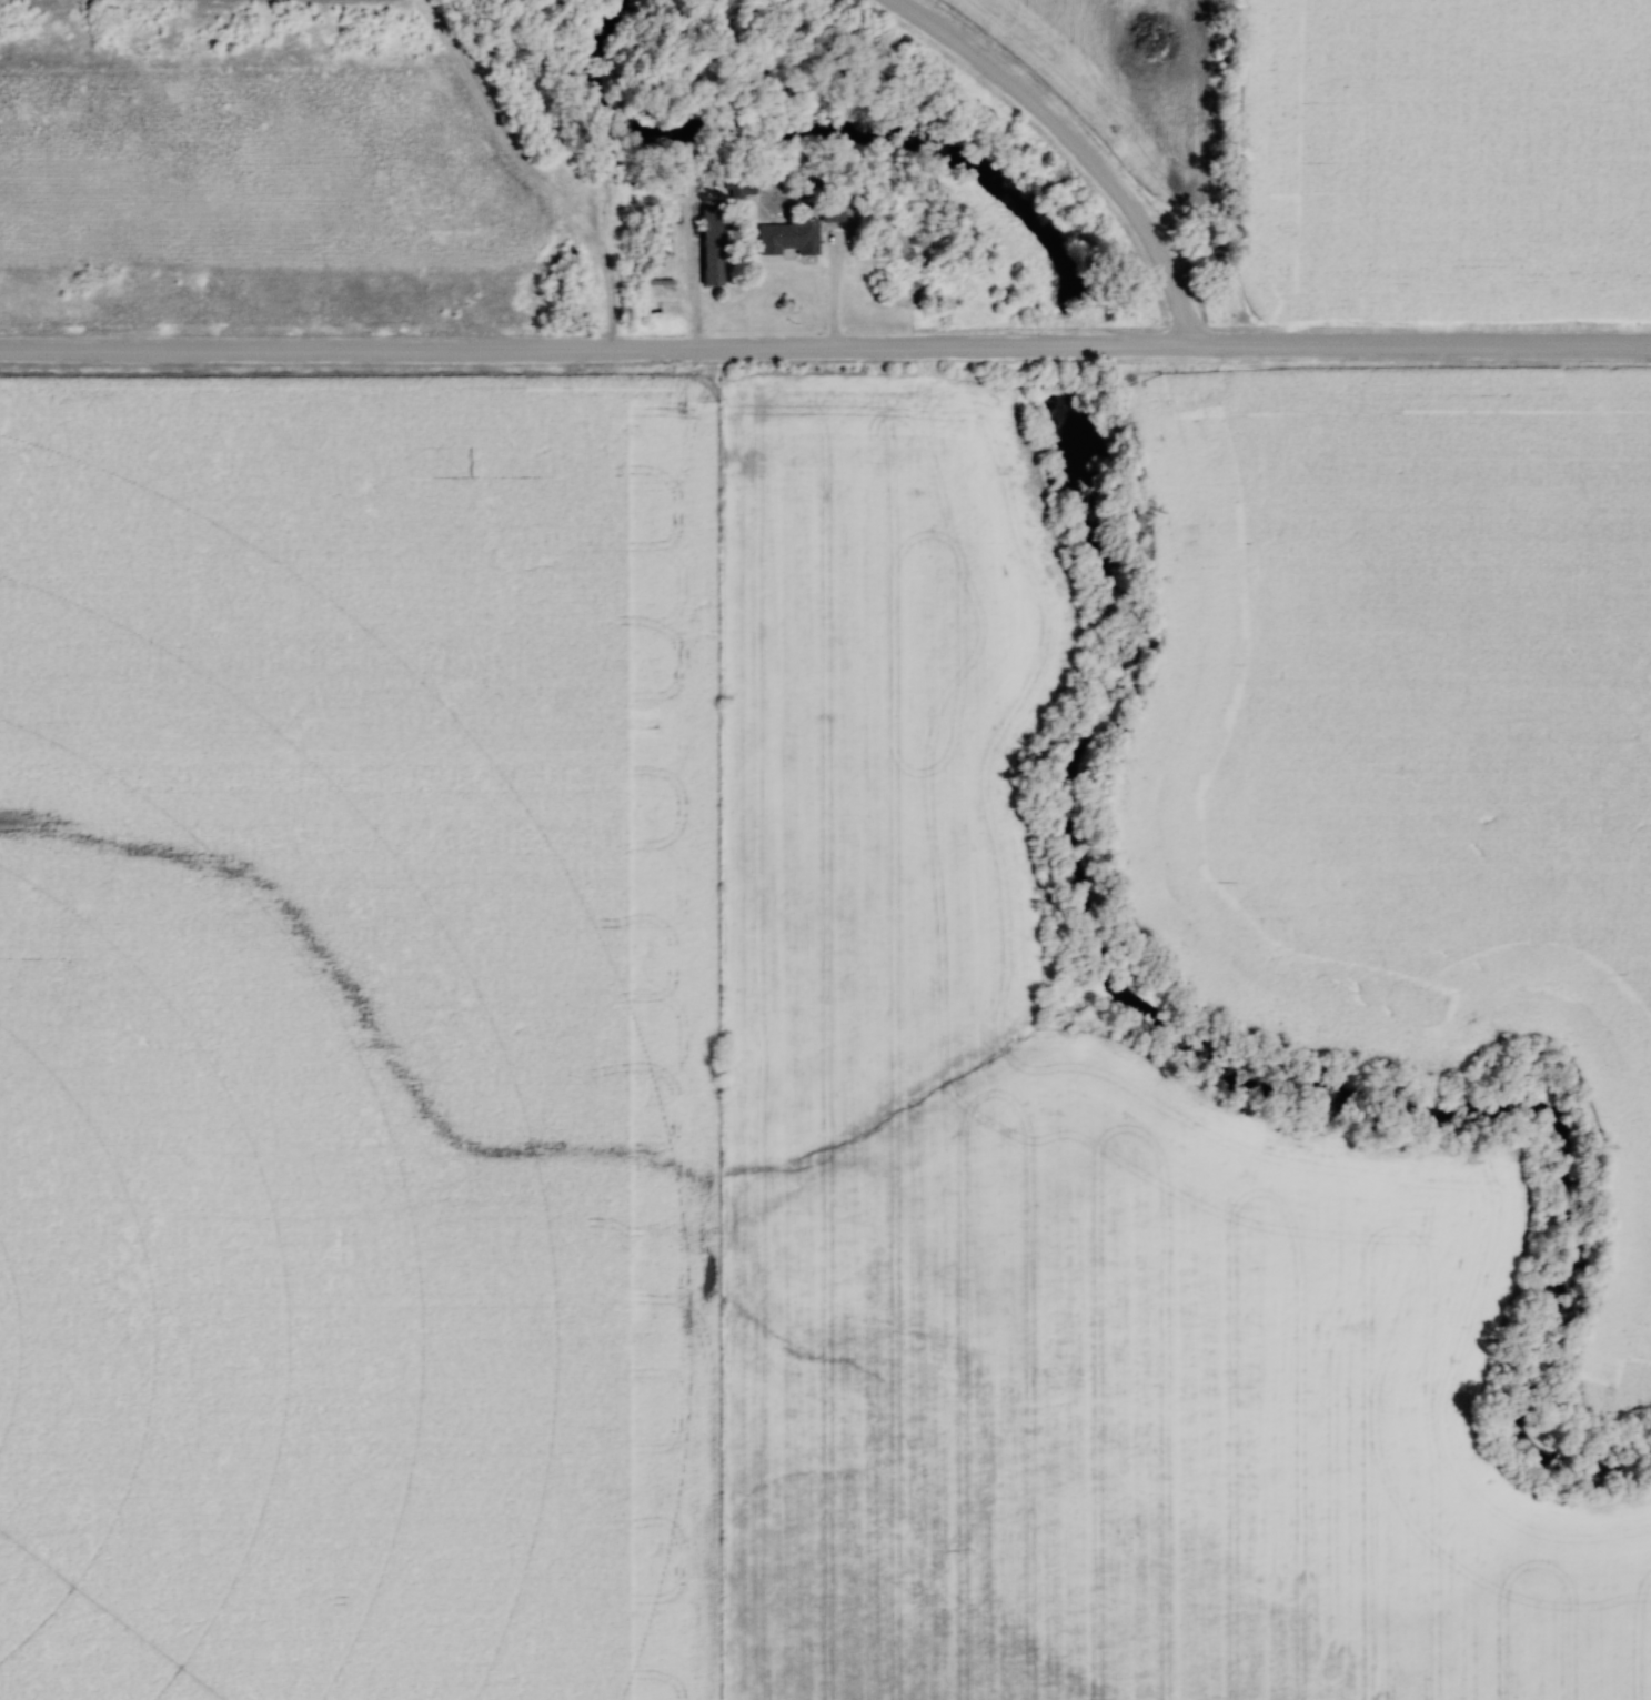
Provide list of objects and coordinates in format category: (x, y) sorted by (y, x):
river: (823, 140)
road: (1073, 148)
building: (835, 210)
building: (792, 238)
building: (715, 247)
road: (1125, 346)
road: (300, 348)
river: (1071, 351)
river: (1254, 1075)

